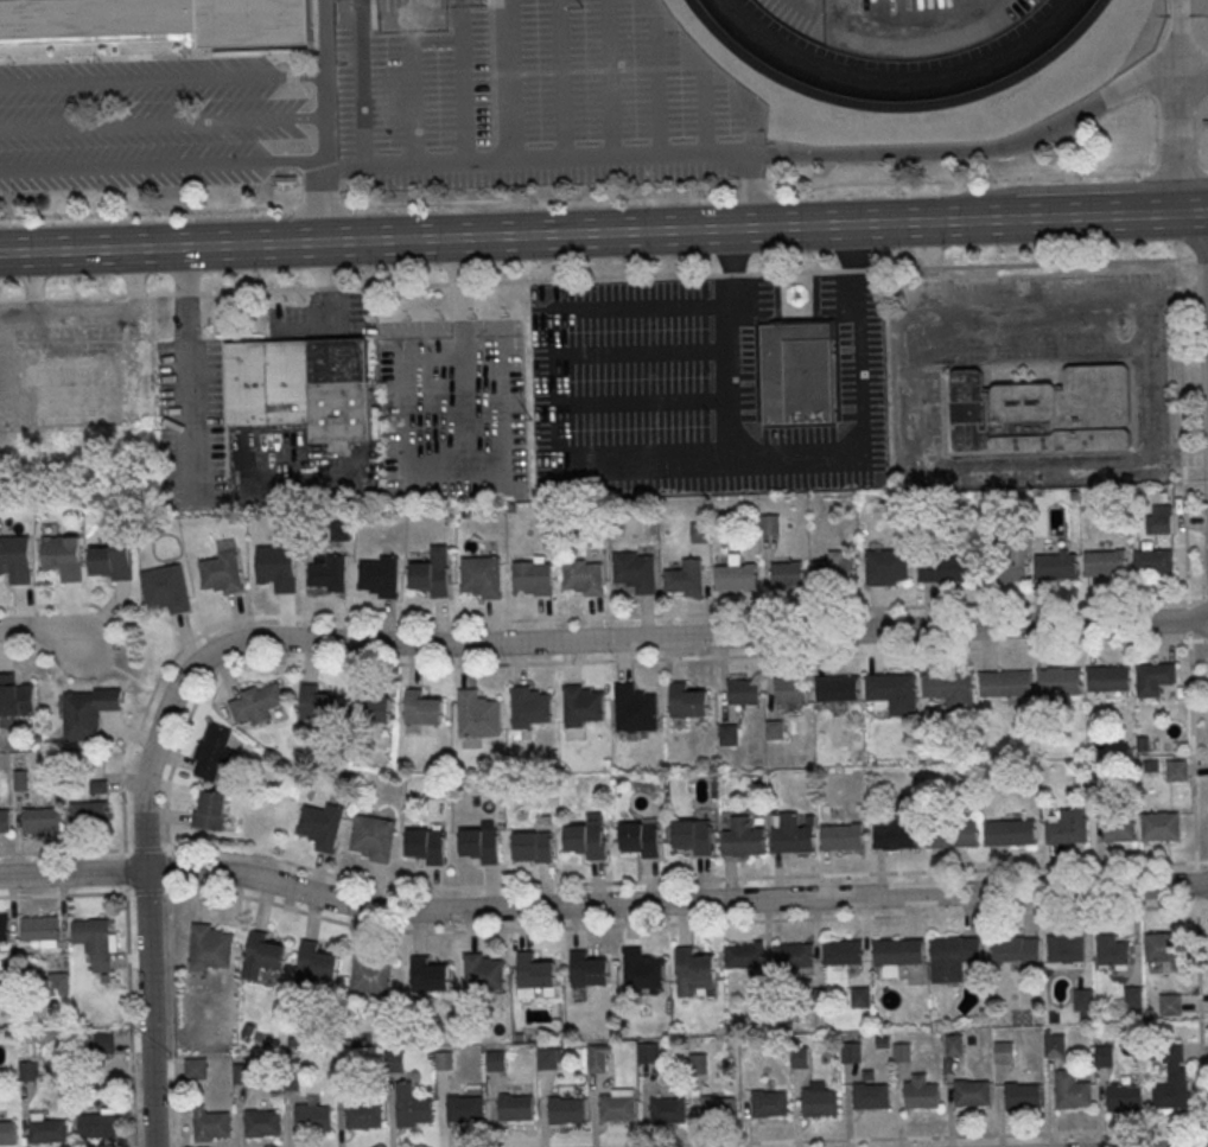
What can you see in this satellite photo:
building: (163, 19)
road: (357, 45)
road: (161, 77)
road: (1194, 79)
road: (612, 81)
parking lot: (532, 82)
road: (564, 82)
road: (513, 83)
raceway: (898, 84)
road: (660, 89)
road: (1181, 106)
road: (708, 116)
road: (163, 121)
parking lot: (148, 126)
road: (755, 134)
road: (977, 151)
road: (325, 163)
road: (574, 164)
road: (163, 167)
road: (604, 199)
road: (1195, 212)
road: (1102, 216)
road: (939, 221)
road: (427, 236)
road: (604, 279)
road: (301, 326)
road: (462, 358)
road: (190, 369)
building: (796, 375)
building: (303, 387)
parking lot: (693, 390)
building: (1044, 412)
parking lot: (447, 413)
parking lot: (191, 419)
road: (796, 460)
building: (1159, 518)
building: (770, 525)
building: (700, 533)
building: (64, 557)
building: (17, 560)
building: (114, 561)
building: (1153, 562)
building: (1105, 563)
building: (886, 567)
building: (1056, 567)
building: (278, 568)
building: (224, 569)
building: (945, 569)
building: (1002, 569)
building: (636, 572)
building: (329, 573)
building: (433, 573)
building: (787, 573)
building: (834, 573)
building: (381, 576)
building: (483, 576)
building: (533, 578)
building: (585, 578)
building: (686, 578)
building: (736, 578)
building: (167, 588)
road: (57, 604)
road: (742, 611)
road: (1188, 618)
road: (45, 630)
road: (590, 639)
road: (15, 650)
road: (587, 659)
building: (1108, 678)
building: (1153, 678)
building: (1060, 681)
building: (1005, 684)
building: (838, 689)
building: (791, 690)
building: (949, 692)
building: (745, 693)
building: (894, 693)
building: (17, 697)
building: (688, 702)
building: (259, 703)
building: (318, 705)
building: (581, 706)
building: (370, 707)
building: (530, 708)
building: (635, 708)
building: (424, 710)
building: (89, 713)
building: (478, 715)
building: (775, 731)
building: (729, 735)
building: (214, 753)
building: (1176, 772)
road: (1193, 778)
building: (1100, 794)
building: (210, 811)
building: (90, 813)
building: (40, 818)
building: (5, 820)
building: (322, 826)
building: (1161, 827)
building: (1068, 829)
building: (1119, 829)
building: (896, 834)
building: (1011, 834)
building: (953, 835)
building: (693, 836)
building: (793, 836)
building: (843, 837)
building: (374, 839)
building: (587, 839)
building: (641, 839)
building: (743, 839)
building: (481, 845)
building: (427, 847)
building: (534, 847)
road: (126, 871)
road: (686, 880)
road: (602, 905)
road: (552, 926)
building: (39, 928)
building: (4, 929)
building: (95, 942)
building: (1163, 948)
building: (210, 949)
building: (1017, 949)
building: (1067, 949)
building: (1112, 952)
building: (844, 954)
building: (899, 954)
building: (261, 956)
building: (745, 957)
building: (794, 957)
building: (952, 960)
building: (314, 968)
building: (642, 969)
building: (589, 970)
building: (695, 971)
building: (535, 973)
building: (371, 974)
building: (482, 974)
building: (428, 976)
building: (59, 984)
building: (11, 986)
building: (862, 999)
building: (1133, 999)
building: (812, 1000)
building: (763, 1001)
building: (1083, 1001)
building: (1171, 1006)
road: (148, 1009)
road: (129, 1019)
road: (1200, 1026)
building: (106, 1044)
building: (954, 1047)
building: (1055, 1047)
building: (851, 1053)
building: (902, 1053)
building: (647, 1054)
building: (1005, 1054)
building: (800, 1058)
building: (1105, 1058)
building: (548, 1059)
building: (444, 1062)
building: (395, 1063)
building: (496, 1063)
building: (598, 1064)
building: (699, 1065)
building: (196, 1070)
building: (344, 1070)
building: (28, 1071)
building: (242, 1075)
building: (1174, 1079)
building: (972, 1095)
building: (1074, 1095)
building: (921, 1096)
building: (871, 1097)
building: (1023, 1097)
building: (1124, 1098)
building: (820, 1102)
building: (769, 1104)
building: (412, 1108)
building: (515, 1108)
building: (464, 1109)
building: (617, 1109)
building: (566, 1110)
building: (719, 1110)
building: (667, 1111)
building: (363, 1117)
building: (313, 1119)
building: (262, 1123)
building: (209, 1126)
building: (96, 1127)
building: (49, 1132)
building: (7, 1134)
road: (901, 1136)

